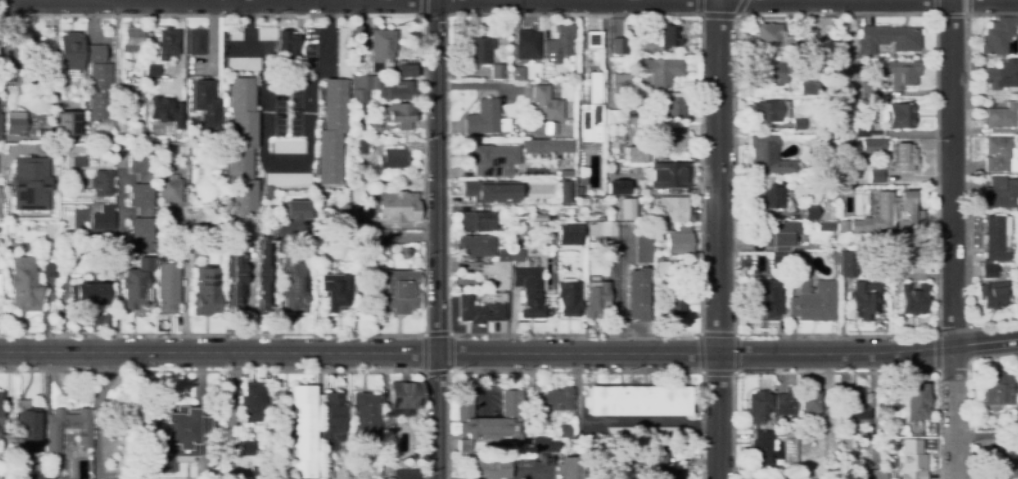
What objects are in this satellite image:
road: (35, 1)
road: (146, 1)
road: (259, 1)
road: (284, 2)
road: (423, 7)
road: (951, 14)
road: (449, 15)
road: (718, 15)
building: (234, 34)
building: (264, 34)
building: (669, 36)
building: (769, 36)
building: (998, 36)
building: (888, 38)
building: (131, 39)
building: (592, 39)
building: (527, 41)
building: (196, 42)
building: (560, 42)
building: (287, 43)
building: (167, 44)
building: (382, 46)
building: (619, 46)
building: (71, 48)
building: (33, 50)
building: (480, 50)
building: (652, 50)
building: (810, 51)
building: (343, 53)
building: (243, 64)
building: (840, 64)
building: (517, 70)
building: (660, 70)
building: (152, 71)
building: (405, 71)
building: (497, 71)
building: (771, 73)
building: (10, 74)
building: (539, 74)
building: (901, 74)
building: (1002, 75)
building: (621, 81)
building: (99, 82)
building: (865, 87)
building: (382, 90)
building: (801, 91)
building: (58, 96)
building: (137, 99)
building: (205, 104)
building: (546, 104)
building: (670, 106)
building: (589, 109)
building: (165, 111)
building: (767, 111)
building: (401, 115)
building: (623, 115)
building: (897, 116)
building: (1002, 116)
building: (486, 119)
building: (569, 122)
building: (67, 123)
building: (15, 125)
building: (799, 125)
building: (1, 127)
building: (373, 127)
building: (551, 128)
building: (867, 130)
building: (331, 131)
building: (134, 133)
building: (806, 140)
building: (671, 141)
building: (546, 145)
building: (360, 146)
building: (872, 146)
building: (241, 147)
building: (288, 147)
building: (1000, 155)
building: (768, 157)
building: (392, 158)
building: (491, 158)
building: (903, 158)
road: (283, 159)
building: (865, 162)
building: (660, 169)
building: (565, 172)
road: (951, 172)
road: (437, 176)
building: (875, 176)
building: (285, 181)
building: (864, 181)
building: (31, 183)
building: (100, 183)
building: (619, 187)
building: (169, 189)
building: (478, 190)
building: (564, 191)
building: (851, 192)
building: (1000, 193)
building: (771, 196)
building: (832, 198)
building: (517, 199)
building: (600, 199)
building: (140, 201)
building: (396, 207)
building: (74, 208)
building: (626, 208)
building: (670, 208)
building: (296, 209)
building: (896, 209)
building: (815, 214)
building: (216, 216)
building: (345, 217)
building: (102, 218)
building: (541, 218)
building: (476, 220)
building: (166, 222)
building: (505, 225)
building: (657, 226)
building: (825, 226)
building: (605, 228)
building: (49, 229)
building: (570, 232)
building: (1012, 233)
building: (779, 234)
building: (379, 238)
building: (995, 238)
road: (717, 239)
building: (679, 240)
building: (853, 240)
building: (475, 245)
building: (362, 249)
building: (643, 249)
building: (406, 253)
building: (515, 253)
building: (503, 255)
building: (832, 256)
building: (778, 260)
building: (1017, 261)
building: (847, 264)
building: (663, 269)
building: (51, 270)
road: (185, 270)
building: (497, 273)
building: (235, 274)
building: (264, 274)
building: (893, 275)
building: (780, 276)
building: (1017, 278)
building: (293, 281)
building: (23, 284)
building: (167, 287)
building: (824, 287)
building: (528, 289)
building: (992, 289)
building: (134, 290)
building: (206, 290)
building: (336, 291)
building: (396, 291)
building: (636, 294)
building: (90, 295)
building: (568, 298)
building: (763, 298)
building: (677, 299)
building: (597, 300)
building: (865, 300)
building: (914, 300)
building: (479, 311)
road: (935, 332)
road: (371, 334)
road: (700, 334)
road: (936, 352)
road: (509, 353)
road: (265, 370)
road: (573, 371)
road: (424, 372)
road: (835, 372)
building: (998, 389)
building: (403, 399)
building: (251, 401)
building: (552, 401)
building: (637, 401)
building: (785, 402)
building: (757, 406)
building: (809, 407)
building: (917, 407)
building: (855, 409)
road: (953, 412)
building: (366, 413)
building: (7, 414)
road: (436, 416)
building: (491, 418)
building: (780, 419)
building: (330, 420)
building: (1016, 420)
building: (769, 426)
building: (28, 428)
building: (68, 428)
building: (563, 431)
building: (839, 432)
building: (647, 433)
building: (299, 436)
building: (180, 438)
building: (266, 438)
building: (465, 445)
building: (546, 445)
building: (247, 448)
building: (761, 449)
building: (655, 456)
building: (910, 458)
building: (1002, 459)
building: (533, 460)
building: (490, 468)
building: (570, 468)
building: (252, 471)
building: (872, 474)
building: (405, 475)
building: (41, 476)

